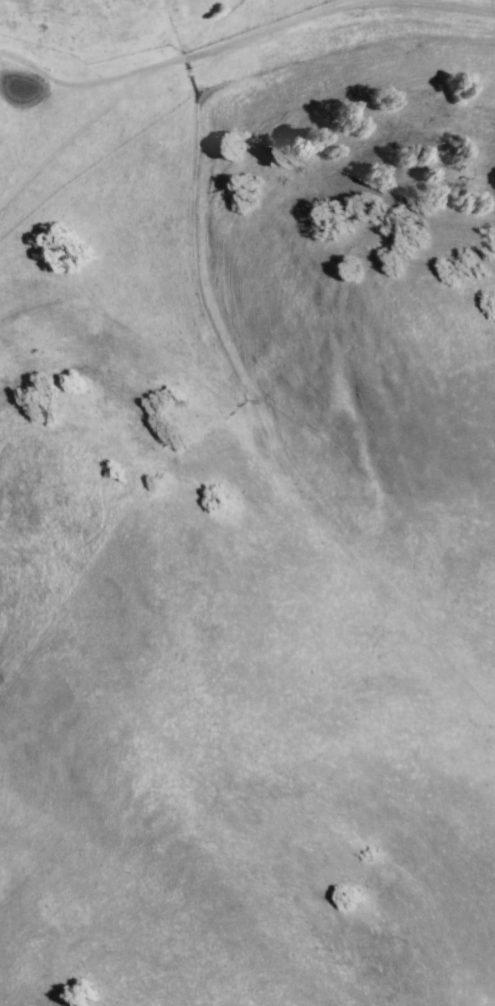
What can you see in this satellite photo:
road: (247, 38)

